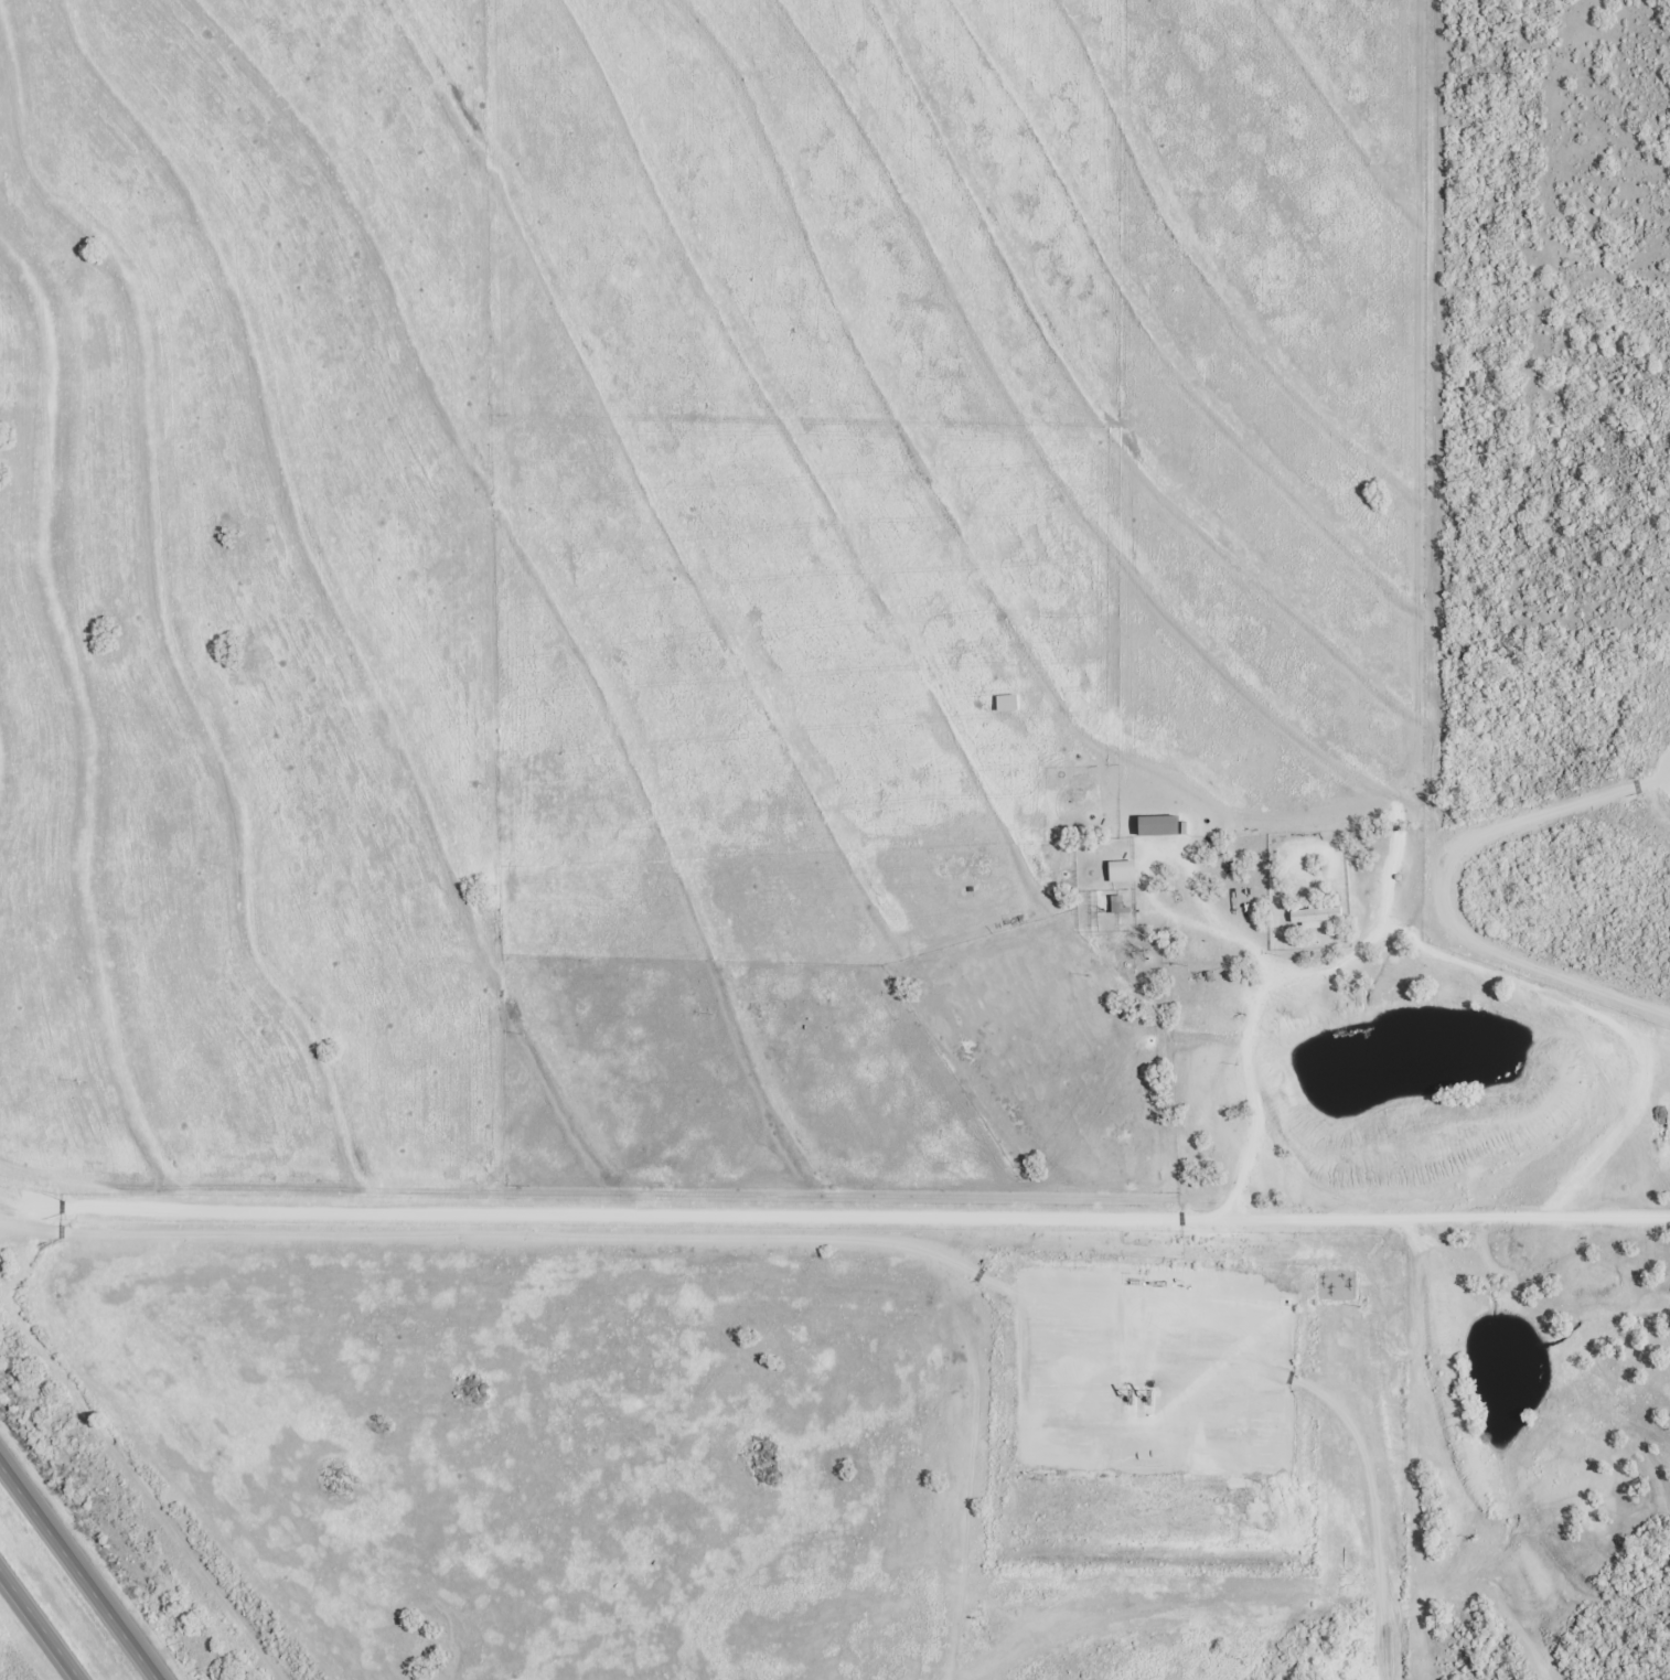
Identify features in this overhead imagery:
building: (1006, 703)
building: (1159, 825)
building: (1122, 870)
building: (1120, 906)
building: (1315, 913)
road: (814, 1218)
road: (1448, 1218)
petroleum well: (1153, 1393)
petroleum well: (1128, 1397)
road: (81, 1569)
road: (42, 1622)

